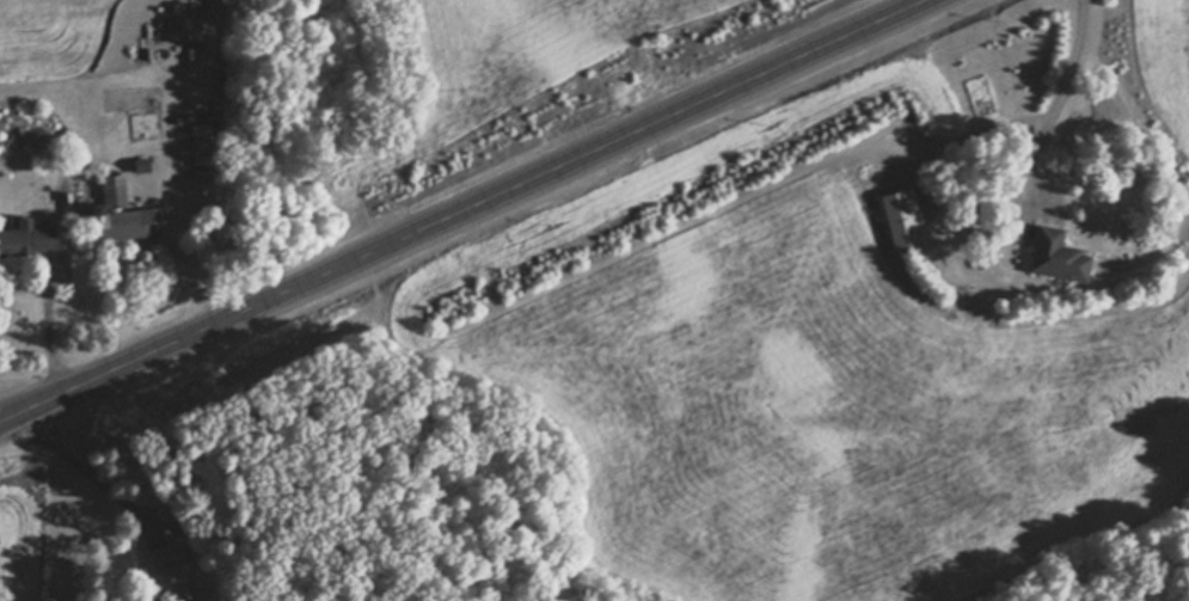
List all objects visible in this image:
road: (1030, 125)
road: (460, 210)
building: (118, 213)
building: (901, 216)
building: (25, 238)
building: (1055, 256)
building: (168, 571)

